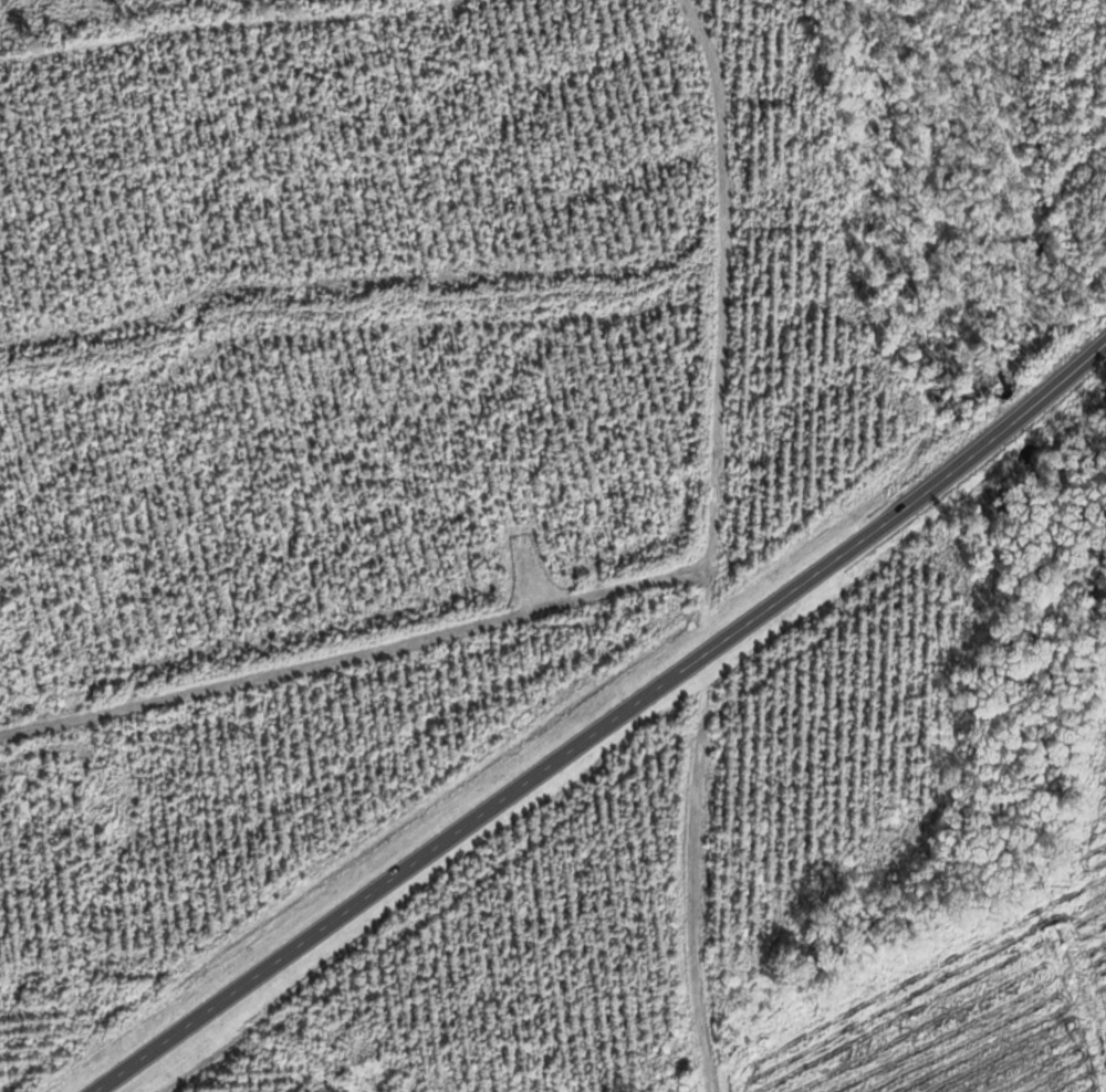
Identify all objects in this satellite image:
road: (705, 322)
road: (355, 633)
road: (606, 724)
road: (692, 873)

